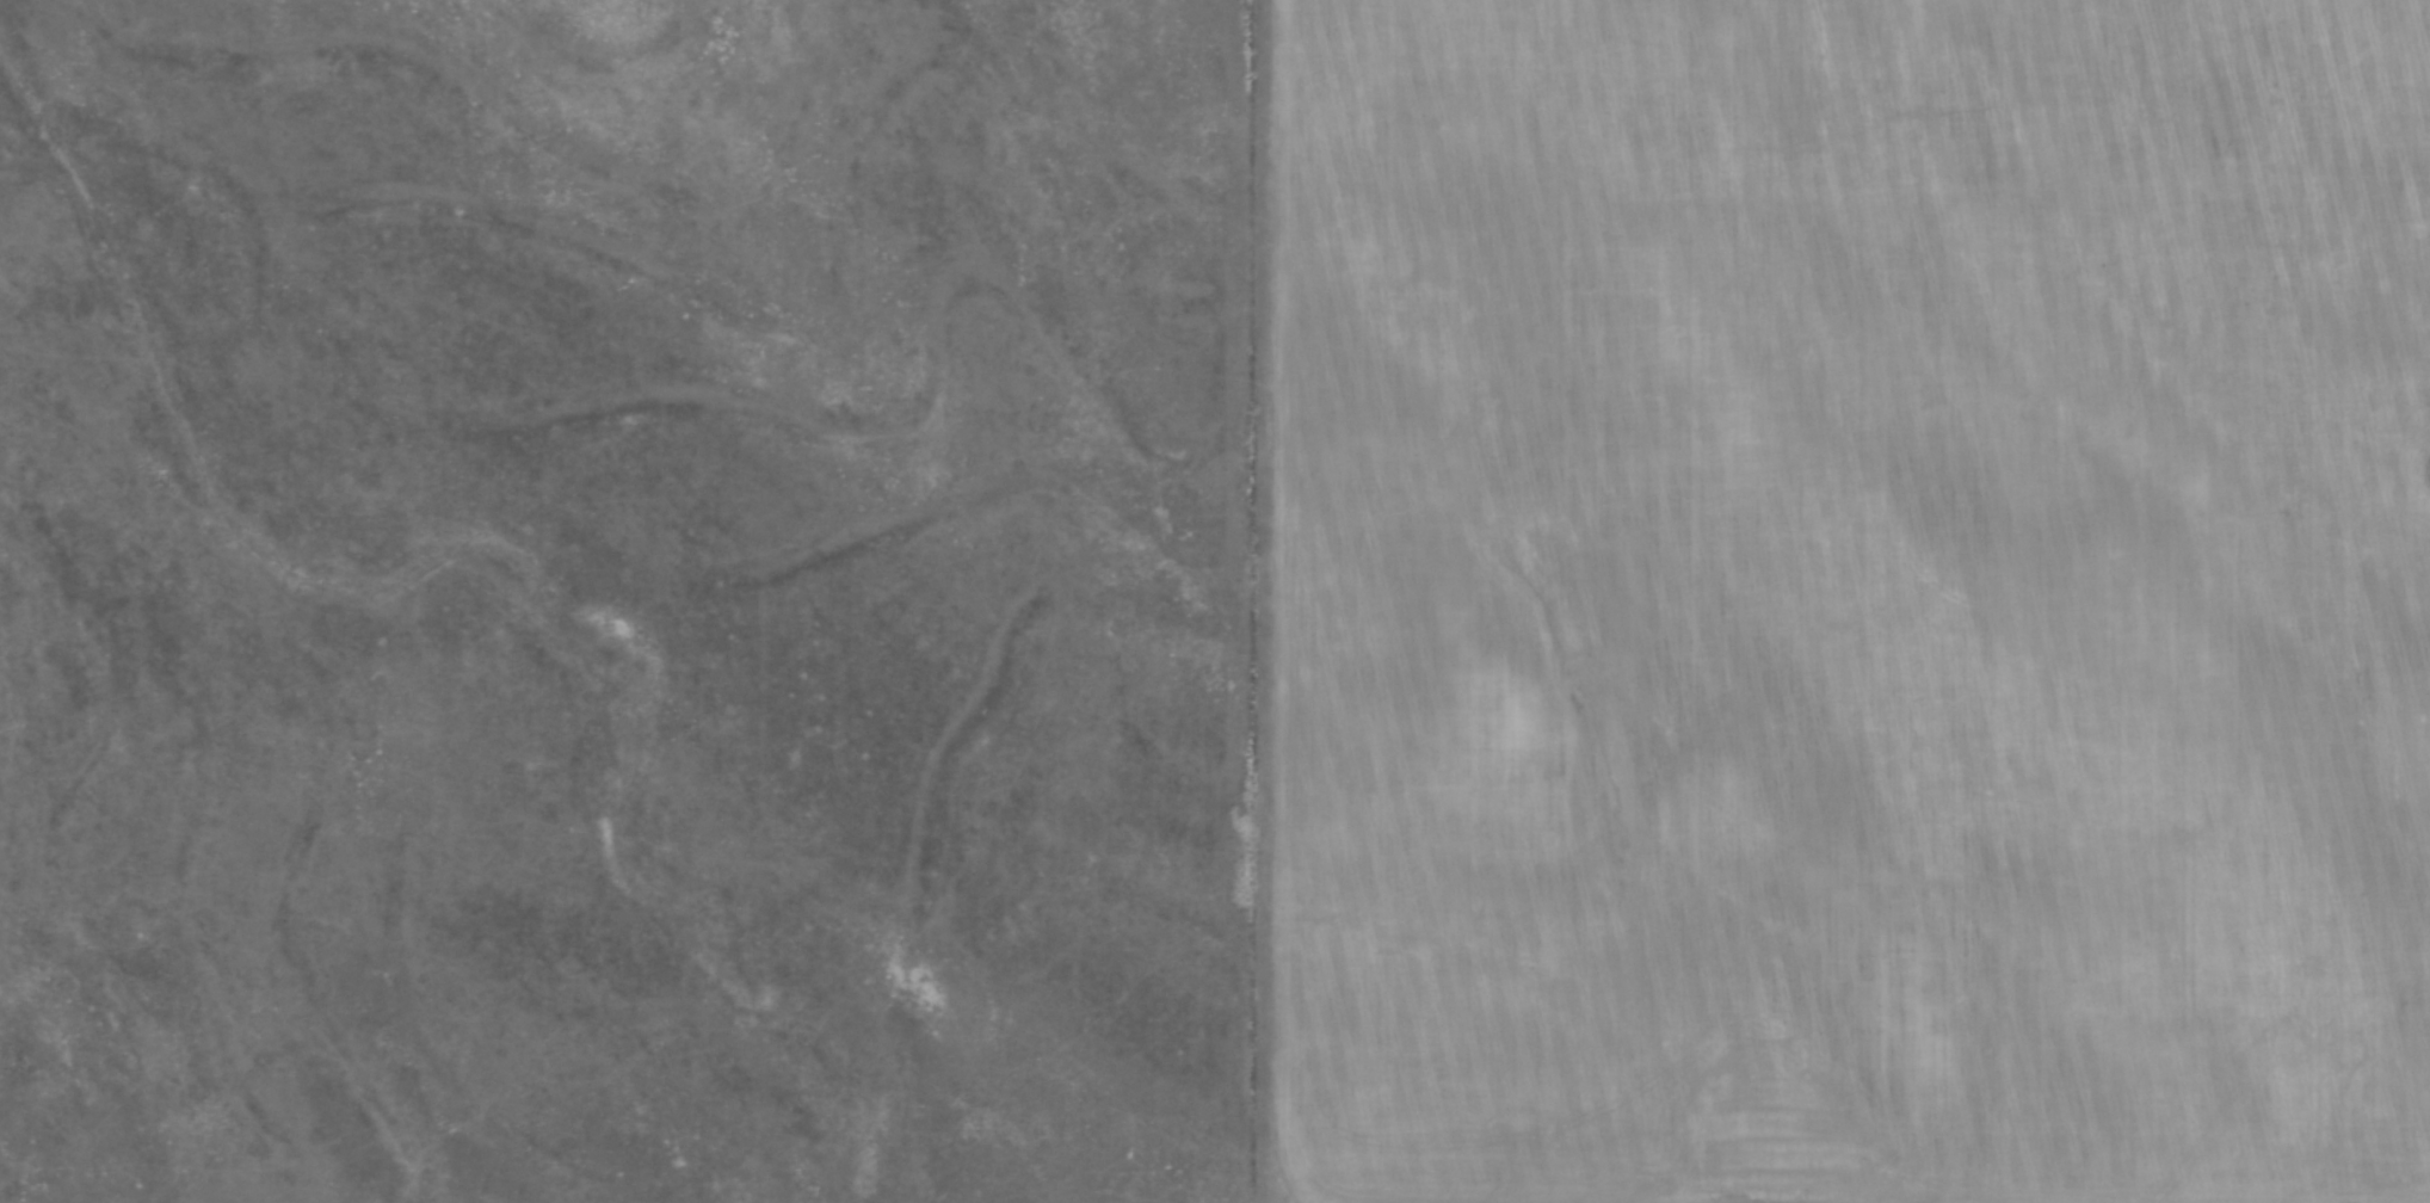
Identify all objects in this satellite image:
crop: (1848, 600)

